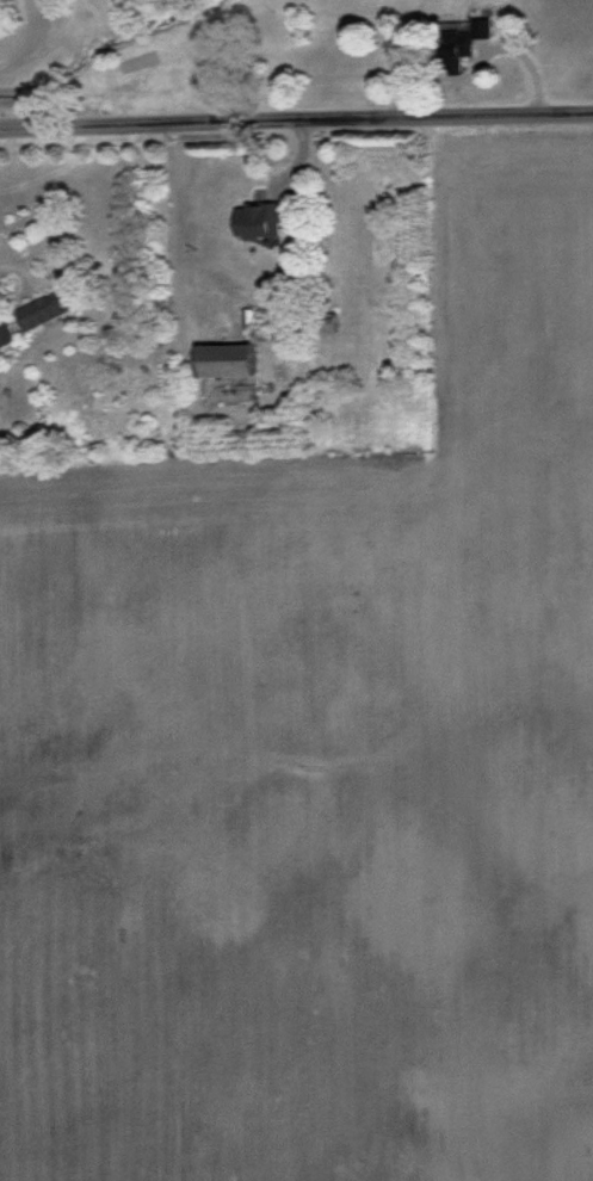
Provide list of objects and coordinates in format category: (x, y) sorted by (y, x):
road: (26, 37)
road: (296, 123)
building: (259, 218)
road: (23, 278)
building: (42, 308)
building: (5, 330)
building: (223, 359)

